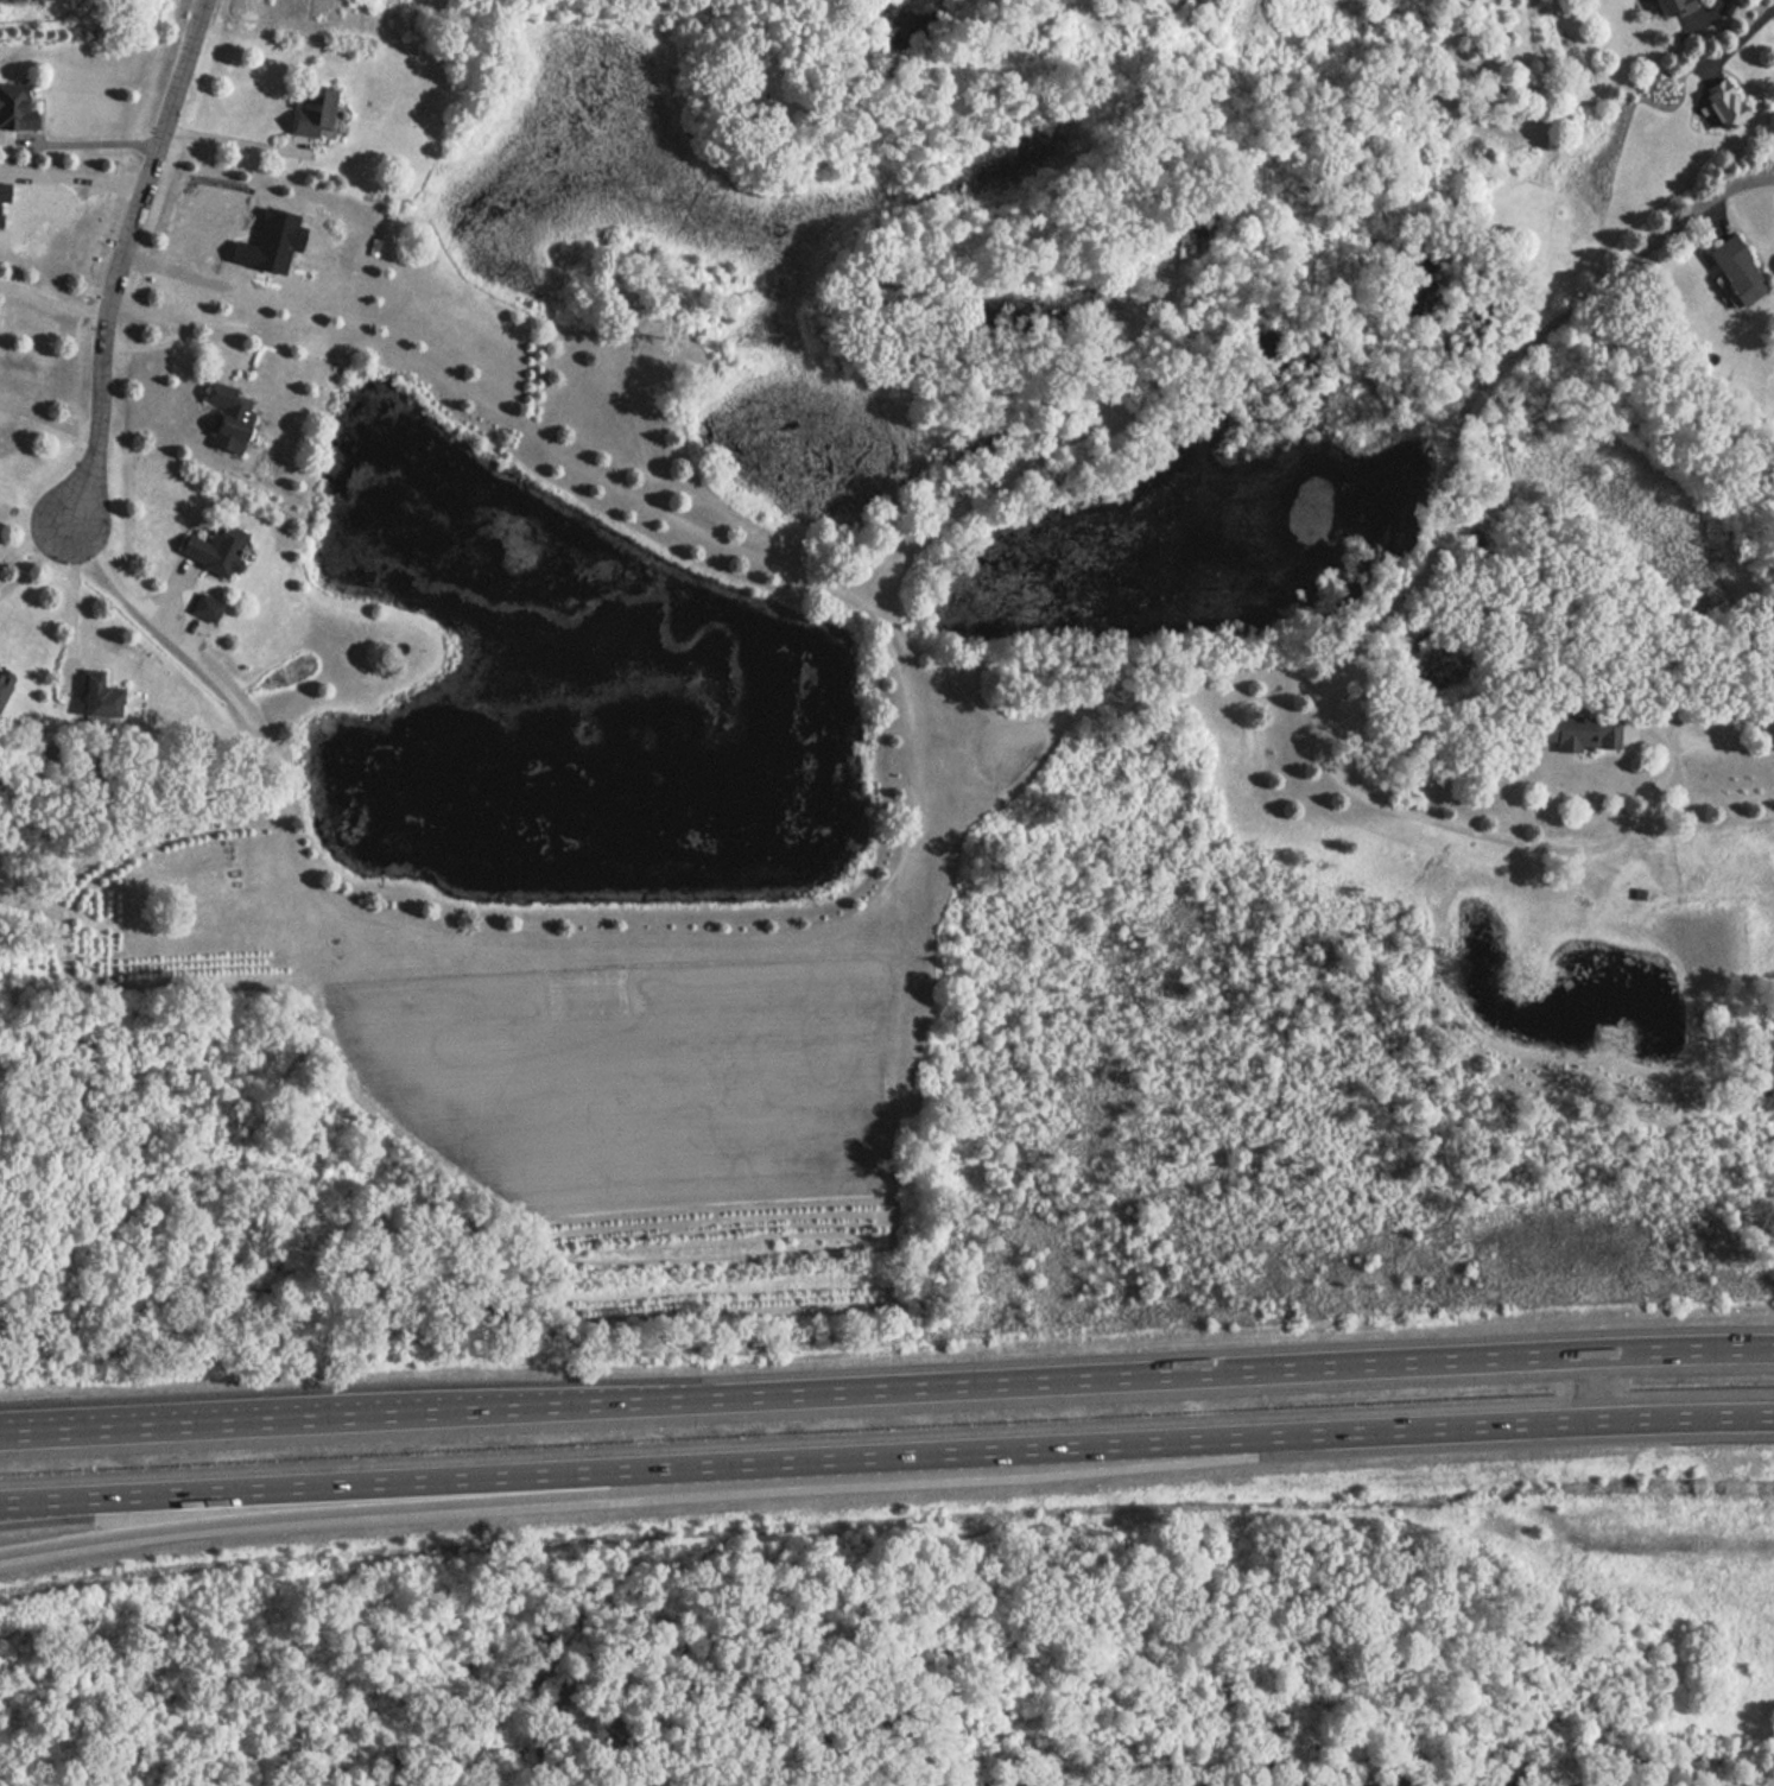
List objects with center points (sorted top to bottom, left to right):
building: (1665, 5)
building: (1721, 102)
building: (12, 106)
building: (308, 112)
road: (226, 131)
road: (90, 142)
road: (119, 258)
building: (1731, 270)
road: (195, 278)
road: (50, 304)
road: (169, 341)
building: (226, 416)
road: (49, 422)
road: (32, 539)
building: (213, 546)
road: (36, 557)
road: (69, 601)
building: (203, 607)
road: (1392, 609)
road: (163, 627)
building: (5, 682)
building: (1573, 730)
road: (886, 1386)
road: (1598, 1387)
road: (13, 1433)
road: (886, 1455)
road: (363, 1508)
building: (1539, 1782)
parking lot: (1591, 1782)
parking lot: (1477, 1784)
building: (1286, 1785)
parking lot: (1329, 1785)
building: (1415, 1785)

